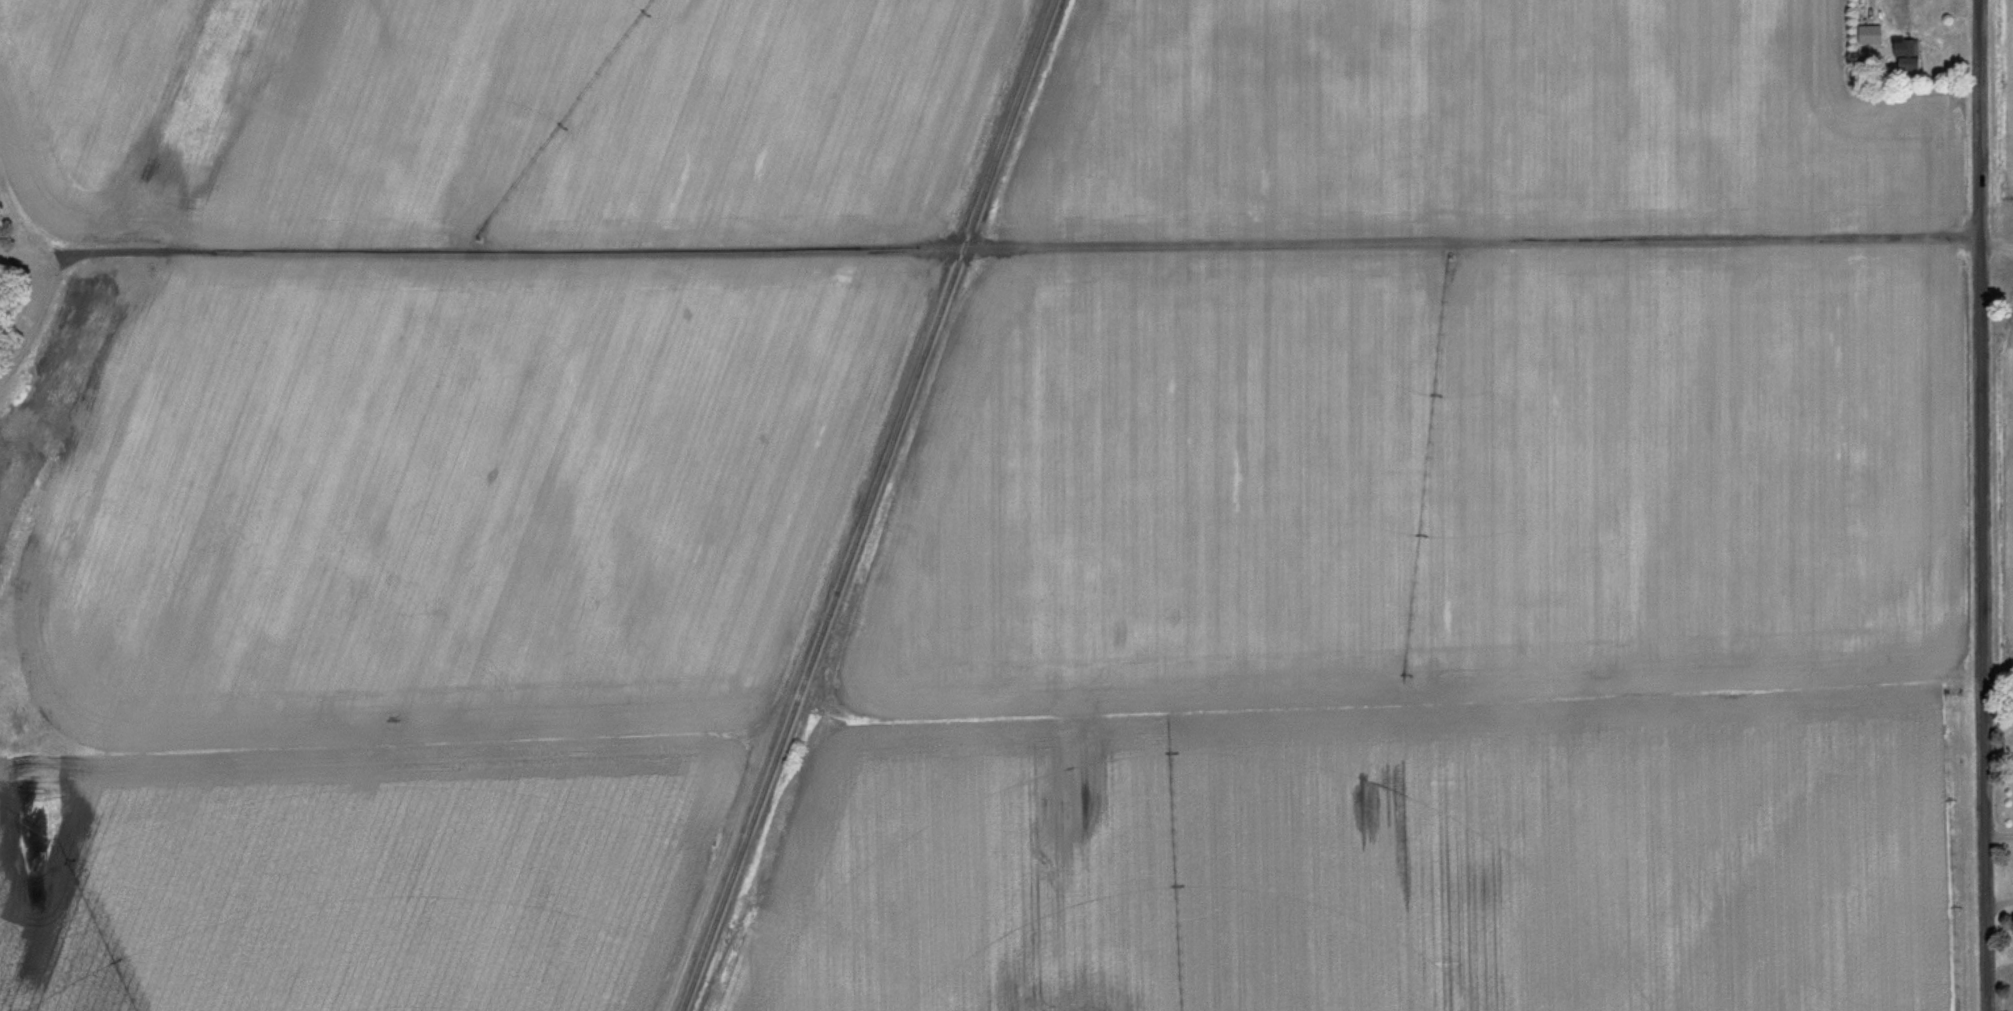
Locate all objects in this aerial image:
building: (1867, 36)
building: (1903, 55)
road: (1996, 243)
road: (923, 252)
railway: (870, 505)
road: (1979, 505)
road: (1998, 833)
road: (1998, 905)

